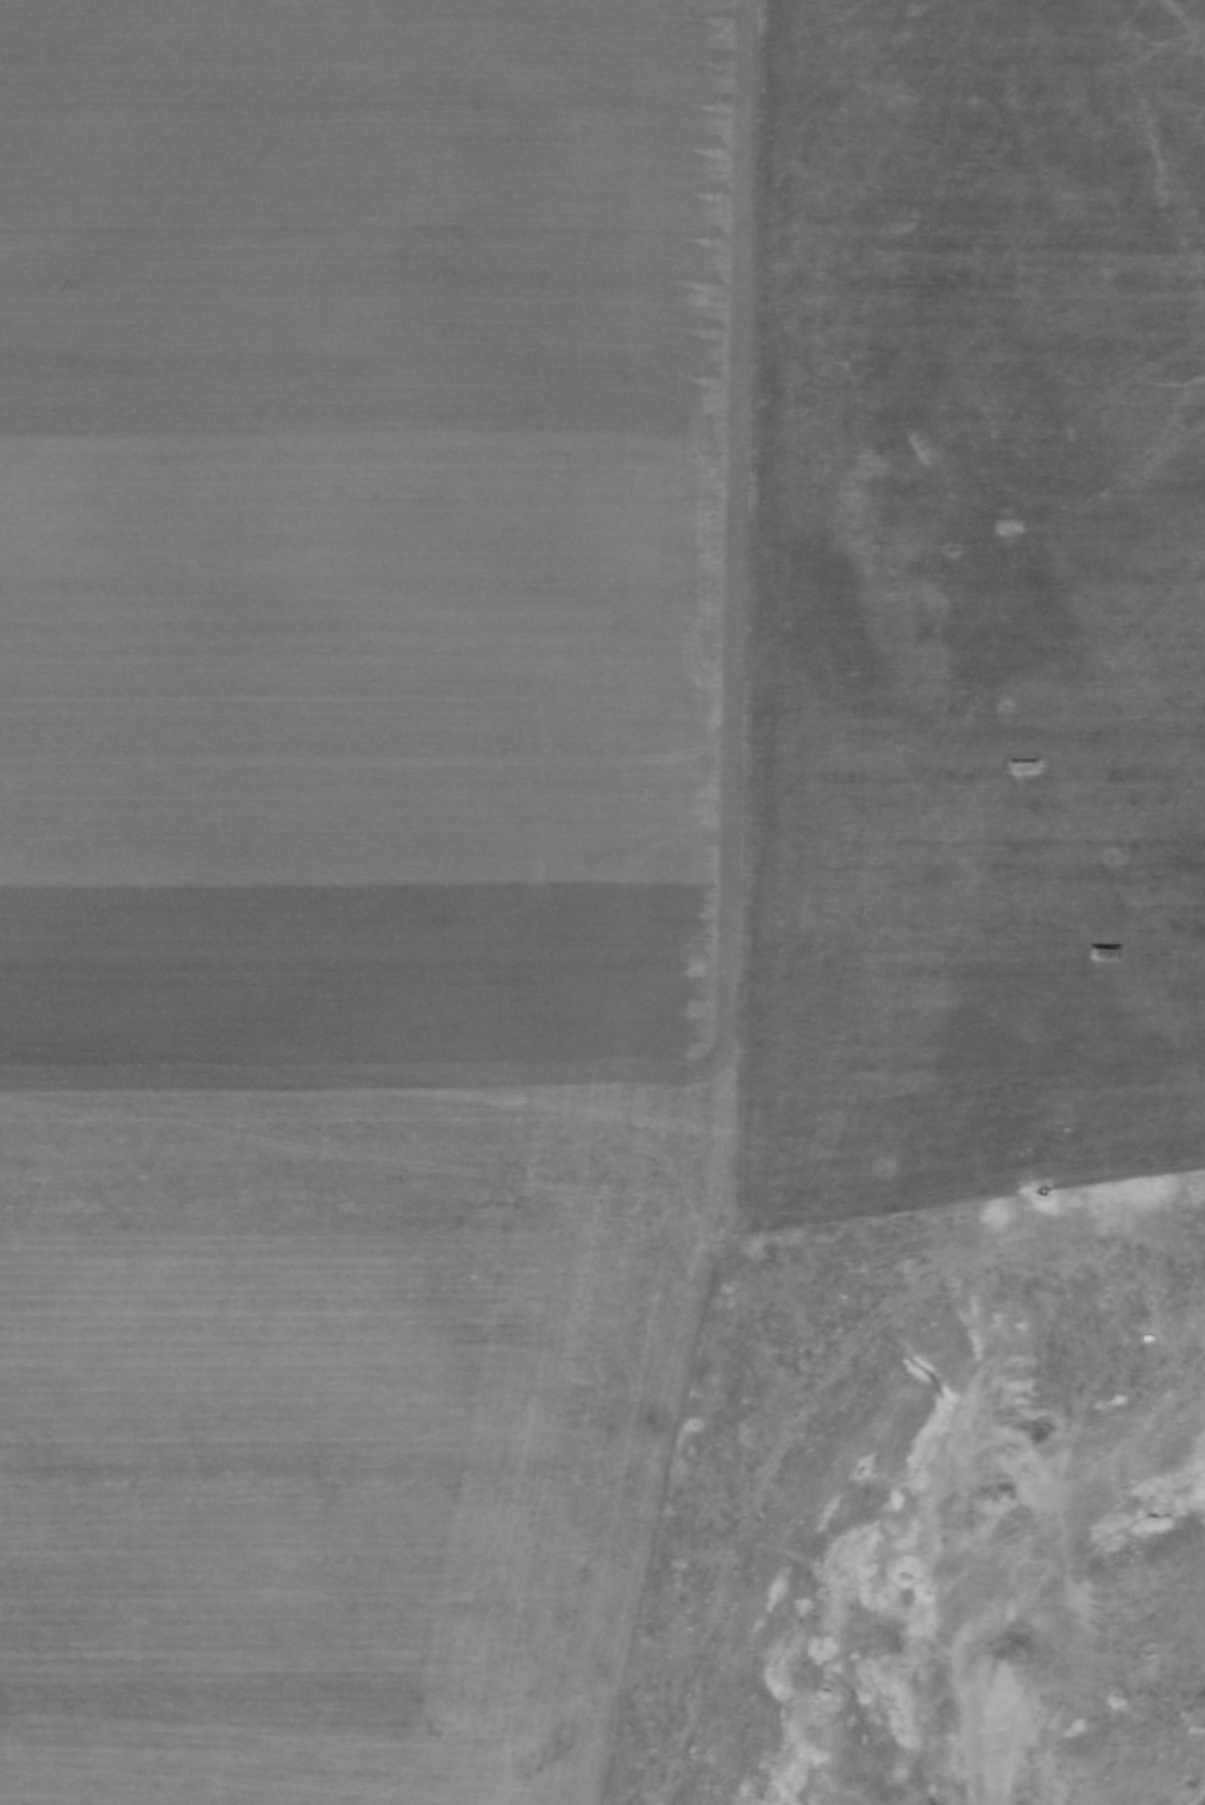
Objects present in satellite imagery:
crop: (362, 876)

